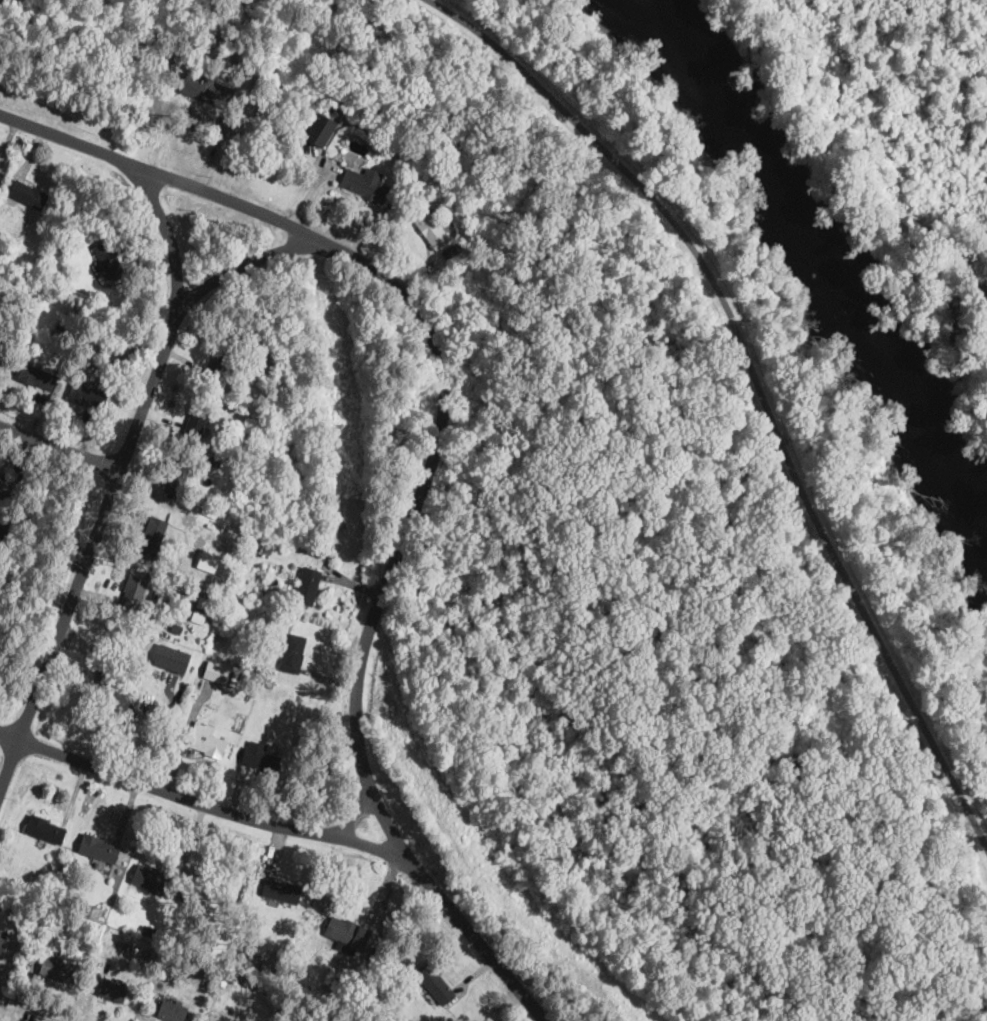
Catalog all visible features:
building: (297, 73)
building: (207, 89)
building: (320, 130)
road: (155, 172)
building: (364, 186)
building: (28, 194)
building: (429, 227)
road: (169, 234)
river: (832, 251)
building: (448, 252)
building: (48, 258)
building: (108, 259)
road: (244, 262)
building: (6, 335)
building: (242, 337)
building: (102, 340)
building: (65, 362)
building: (222, 363)
building: (118, 365)
building: (62, 371)
building: (37, 376)
road: (758, 386)
building: (87, 396)
building: (247, 398)
building: (198, 417)
road: (60, 446)
building: (248, 446)
building: (178, 477)
building: (7, 489)
building: (7, 524)
building: (153, 535)
building: (266, 544)
road: (91, 545)
building: (307, 586)
building: (132, 594)
building: (204, 602)
building: (198, 617)
road: (375, 621)
building: (176, 629)
building: (293, 653)
building: (181, 661)
building: (216, 672)
building: (131, 677)
building: (288, 678)
building: (116, 695)
building: (206, 740)
building: (295, 741)
building: (261, 758)
road: (205, 803)
building: (45, 829)
building: (95, 848)
building: (152, 880)
building: (282, 890)
building: (85, 906)
building: (48, 922)
building: (151, 932)
building: (347, 934)
building: (2, 938)
building: (123, 944)
building: (133, 950)
building: (238, 954)
building: (256, 961)
building: (267, 965)
building: (54, 967)
building: (436, 982)
building: (347, 984)
building: (118, 992)
building: (308, 1007)
building: (172, 1010)
building: (156, 1018)
building: (223, 1019)
building: (210, 1020)

